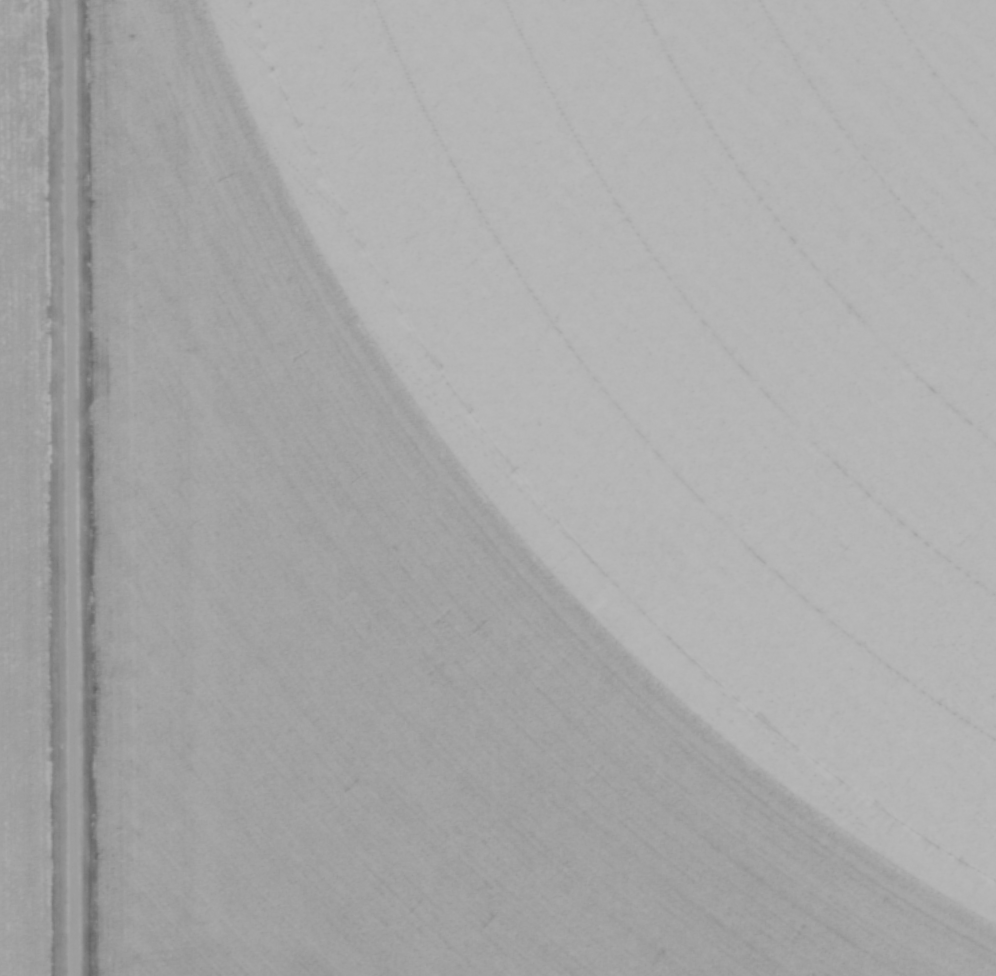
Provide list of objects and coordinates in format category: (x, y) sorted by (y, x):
building: (570, 349)
road: (73, 487)

